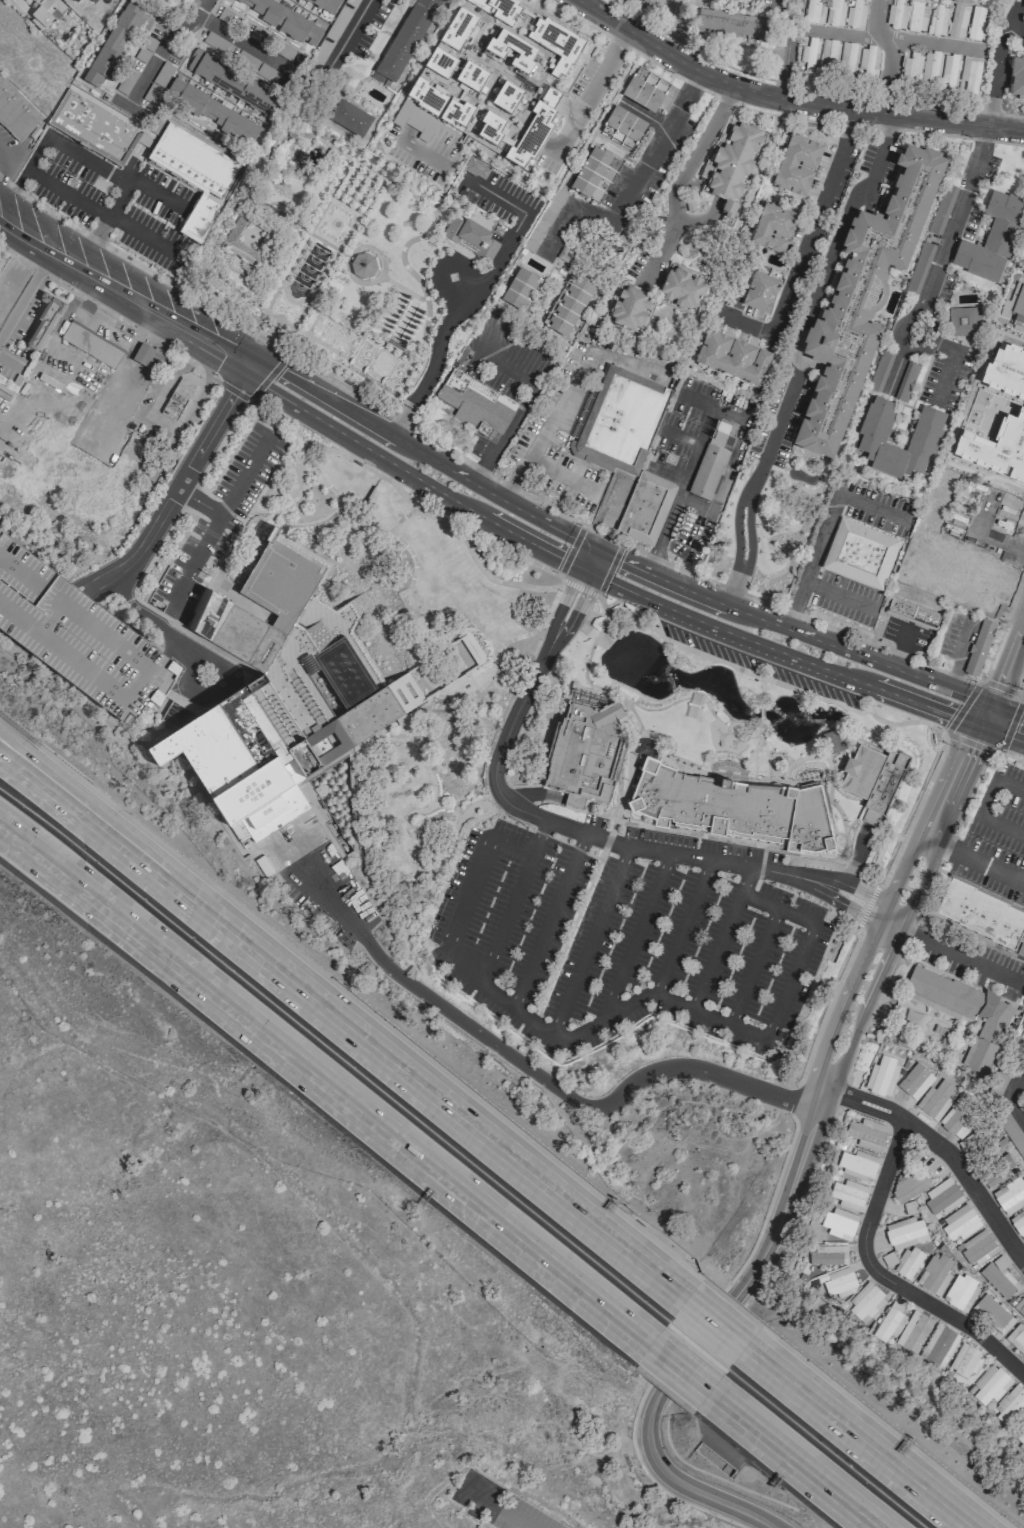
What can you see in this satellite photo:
building: (649, 0)
building: (985, 0)
building: (75, 1)
building: (326, 4)
building: (814, 11)
building: (835, 12)
building: (44, 13)
building: (854, 13)
building: (896, 15)
building: (917, 17)
building: (285, 20)
building: (938, 20)
building: (958, 21)
building: (977, 25)
building: (730, 26)
building: (458, 29)
road: (351, 32)
building: (537, 33)
road: (892, 38)
building: (407, 41)
road: (164, 42)
building: (114, 43)
road: (782, 47)
building: (512, 50)
building: (828, 52)
road: (887, 54)
building: (808, 55)
building: (847, 59)
road: (998, 61)
building: (440, 63)
building: (911, 68)
building: (969, 75)
building: (1017, 77)
building: (474, 79)
building: (231, 82)
road: (589, 91)
building: (642, 93)
building: (507, 98)
road: (791, 98)
building: (16, 111)
building: (430, 111)
building: (211, 112)
building: (347, 117)
road: (888, 124)
building: (97, 125)
building: (622, 128)
building: (37, 129)
road: (314, 137)
road: (310, 144)
road: (287, 147)
building: (301, 157)
road: (878, 160)
road: (7, 162)
building: (194, 162)
building: (737, 163)
building: (799, 165)
building: (475, 168)
road: (23, 172)
building: (595, 175)
road: (684, 175)
road: (111, 177)
road: (341, 177)
road: (634, 185)
road: (254, 192)
parking lot: (106, 196)
road: (374, 197)
parking lot: (499, 197)
road: (347, 205)
road: (464, 205)
building: (1004, 206)
road: (451, 209)
road: (518, 209)
building: (942, 209)
road: (955, 220)
road: (100, 221)
building: (775, 228)
road: (304, 229)
building: (472, 237)
road: (807, 237)
building: (249, 238)
road: (214, 242)
road: (354, 250)
building: (986, 252)
road: (828, 258)
building: (1, 260)
building: (531, 265)
building: (363, 266)
building: (921, 267)
building: (682, 287)
road: (123, 288)
building: (520, 288)
road: (403, 289)
road: (460, 289)
road: (26, 290)
building: (761, 293)
building: (862, 295)
road: (288, 298)
building: (1015, 303)
building: (570, 306)
building: (633, 306)
road: (109, 313)
road: (332, 316)
road: (331, 319)
building: (963, 321)
building: (44, 322)
road: (338, 323)
road: (325, 325)
road: (342, 329)
road: (337, 332)
road: (317, 334)
road: (352, 334)
road: (441, 336)
road: (479, 336)
road: (320, 337)
road: (899, 340)
road: (327, 341)
road: (332, 343)
road: (514, 344)
building: (91, 346)
road: (944, 346)
road: (356, 349)
road: (360, 349)
road: (406, 349)
road: (343, 350)
road: (368, 352)
road: (791, 352)
road: (373, 353)
building: (146, 355)
road: (393, 355)
building: (733, 358)
road: (5, 360)
traffic signals: (249, 362)
road: (368, 362)
road: (306, 364)
road: (504, 364)
road: (391, 369)
road: (394, 369)
road: (400, 370)
building: (881, 371)
building: (1007, 371)
road: (539, 372)
road: (396, 374)
road: (403, 375)
road: (579, 375)
road: (267, 376)
road: (378, 377)
road: (946, 378)
building: (908, 381)
road: (233, 390)
road: (250, 397)
building: (177, 398)
building: (475, 400)
road: (779, 419)
building: (618, 421)
building: (875, 428)
road: (503, 433)
road: (680, 439)
building: (997, 447)
road: (342, 452)
road: (419, 452)
road: (694, 454)
road: (731, 457)
road: (801, 462)
road: (810, 462)
road: (407, 472)
building: (709, 472)
road: (671, 473)
road: (560, 476)
road: (816, 476)
road: (312, 481)
road: (515, 481)
road: (176, 486)
road: (199, 501)
road: (228, 506)
road: (335, 507)
building: (645, 508)
road: (873, 508)
road: (399, 518)
road: (667, 520)
parking lot: (216, 524)
road: (741, 530)
road: (783, 532)
road: (467, 546)
road: (570, 549)
road: (597, 550)
building: (860, 555)
road: (584, 556)
traffic signals: (561, 557)
traffic signals: (621, 562)
road: (600, 563)
road: (812, 563)
road: (588, 569)
road: (609, 570)
road: (560, 576)
road: (579, 587)
traffic signals: (586, 595)
road: (838, 597)
road: (729, 598)
road: (557, 613)
building: (913, 613)
road: (799, 617)
road: (572, 620)
road: (154, 627)
road: (796, 633)
building: (77, 634)
parking lot: (77, 634)
road: (963, 644)
building: (980, 647)
road: (900, 649)
road: (787, 655)
park: (415, 656)
parking lot: (757, 662)
road: (1006, 664)
road: (417, 674)
road: (954, 674)
road: (1019, 683)
road: (761, 691)
road: (698, 696)
road: (818, 697)
road: (962, 707)
building: (281, 709)
road: (760, 714)
traffic signals: (986, 715)
road: (1004, 722)
road: (1007, 730)
road: (661, 736)
building: (833, 741)
building: (584, 751)
building: (875, 777)
road: (956, 777)
road: (627, 779)
road: (775, 780)
road: (1012, 784)
road: (991, 800)
road: (428, 805)
building: (730, 805)
road: (855, 815)
parking lot: (594, 820)
road: (118, 823)
road: (1003, 829)
road: (453, 831)
road: (544, 834)
road: (688, 834)
road: (607, 839)
road: (624, 844)
parking lot: (703, 844)
road: (353, 849)
road: (108, 850)
road: (841, 851)
road: (794, 852)
road: (975, 861)
road: (759, 870)
road: (434, 873)
road: (753, 889)
road: (921, 901)
road: (513, 902)
road: (776, 908)
road: (866, 909)
building: (982, 914)
road: (547, 921)
road: (682, 927)
road: (636, 934)
road: (567, 936)
road: (721, 938)
road: (589, 941)
parking lot: (620, 945)
road: (956, 956)
road: (753, 967)
road: (791, 984)
building: (965, 1012)
road: (824, 1014)
road: (525, 1018)
road: (535, 1074)
building: (882, 1075)
road: (324, 1085)
building: (911, 1086)
road: (1009, 1093)
building: (935, 1100)
road: (452, 1116)
building: (960, 1117)
building: (866, 1133)
building: (1013, 1133)
road: (821, 1147)
road: (944, 1151)
road: (794, 1175)
building: (994, 1177)
building: (909, 1187)
building: (848, 1194)
building: (942, 1196)
building: (1010, 1196)
building: (909, 1207)
building: (959, 1222)
building: (839, 1223)
building: (1018, 1223)
building: (905, 1233)
building: (978, 1247)
building: (827, 1254)
building: (907, 1262)
building: (934, 1274)
building: (999, 1277)
road: (880, 1280)
building: (839, 1282)
building: (960, 1292)
building: (1019, 1307)
building: (992, 1313)
building: (889, 1321)
road: (712, 1325)
building: (913, 1332)
building: (1016, 1338)
building: (939, 1346)
building: (965, 1360)
road: (679, 1369)
building: (988, 1384)
building: (1009, 1406)
building: (1020, 1436)
road: (854, 1438)
road: (792, 1462)
road: (428, 1485)
road: (725, 1504)
road: (494, 1506)

